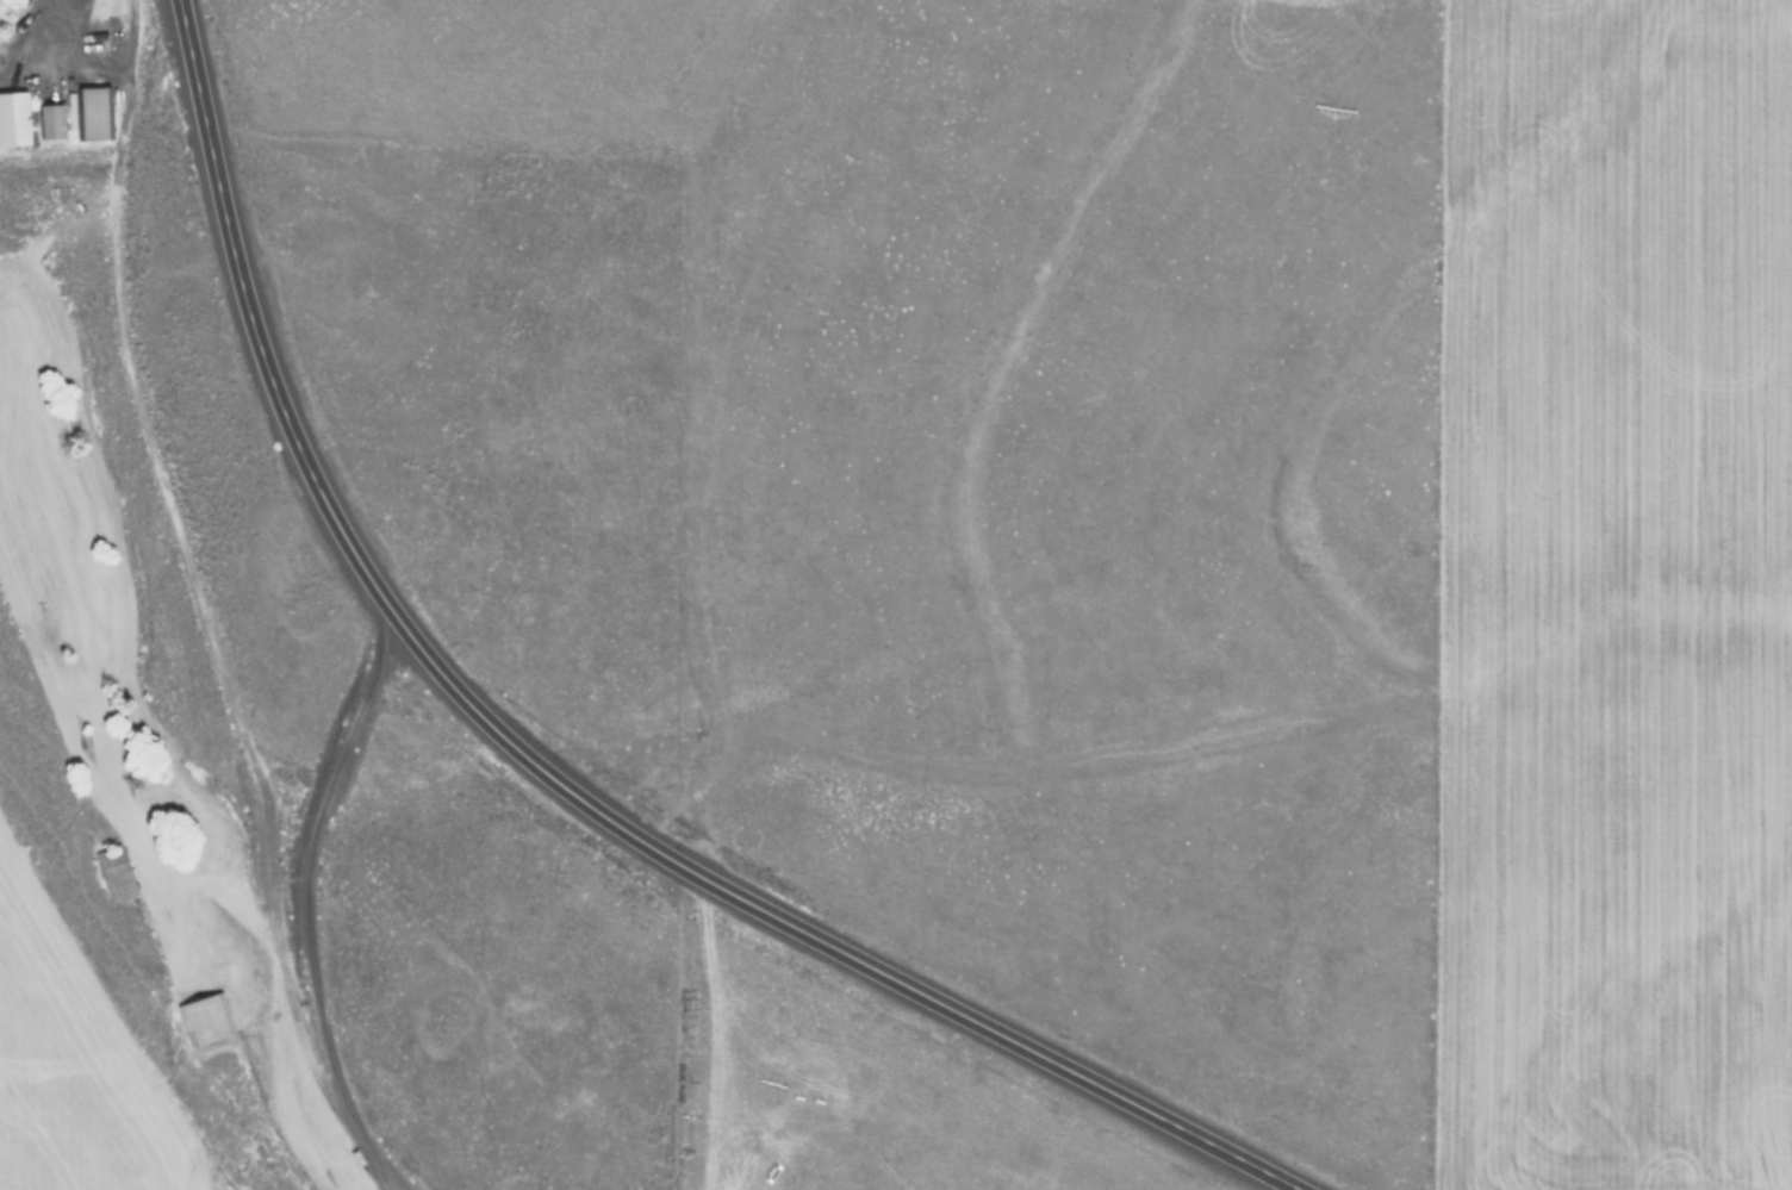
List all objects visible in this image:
road: (89, 33)
building: (15, 117)
building: (54, 120)
road: (548, 771)
road: (318, 908)
building: (207, 1017)

